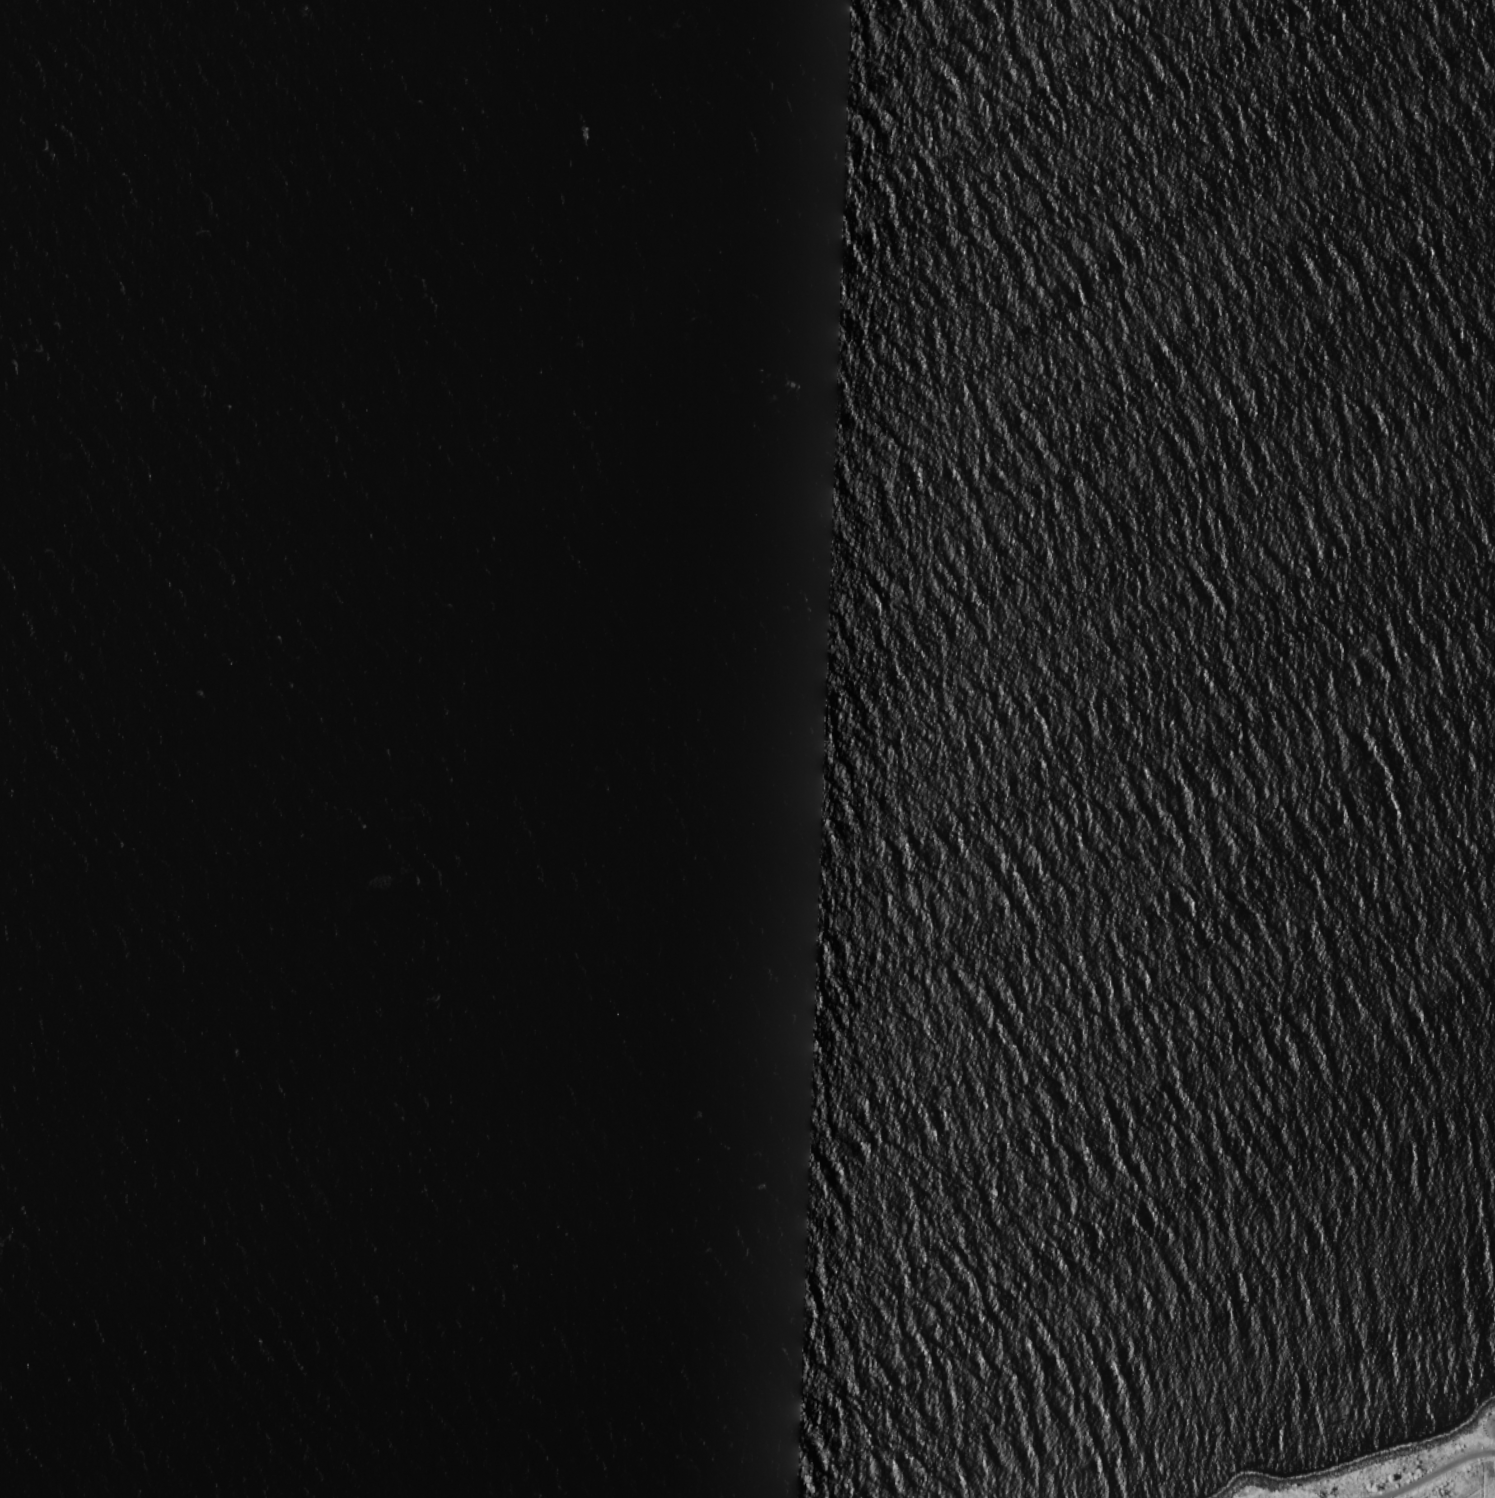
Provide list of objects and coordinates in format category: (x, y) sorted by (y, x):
road: (1491, 1447)
park: (1400, 1471)
road: (1437, 1474)

